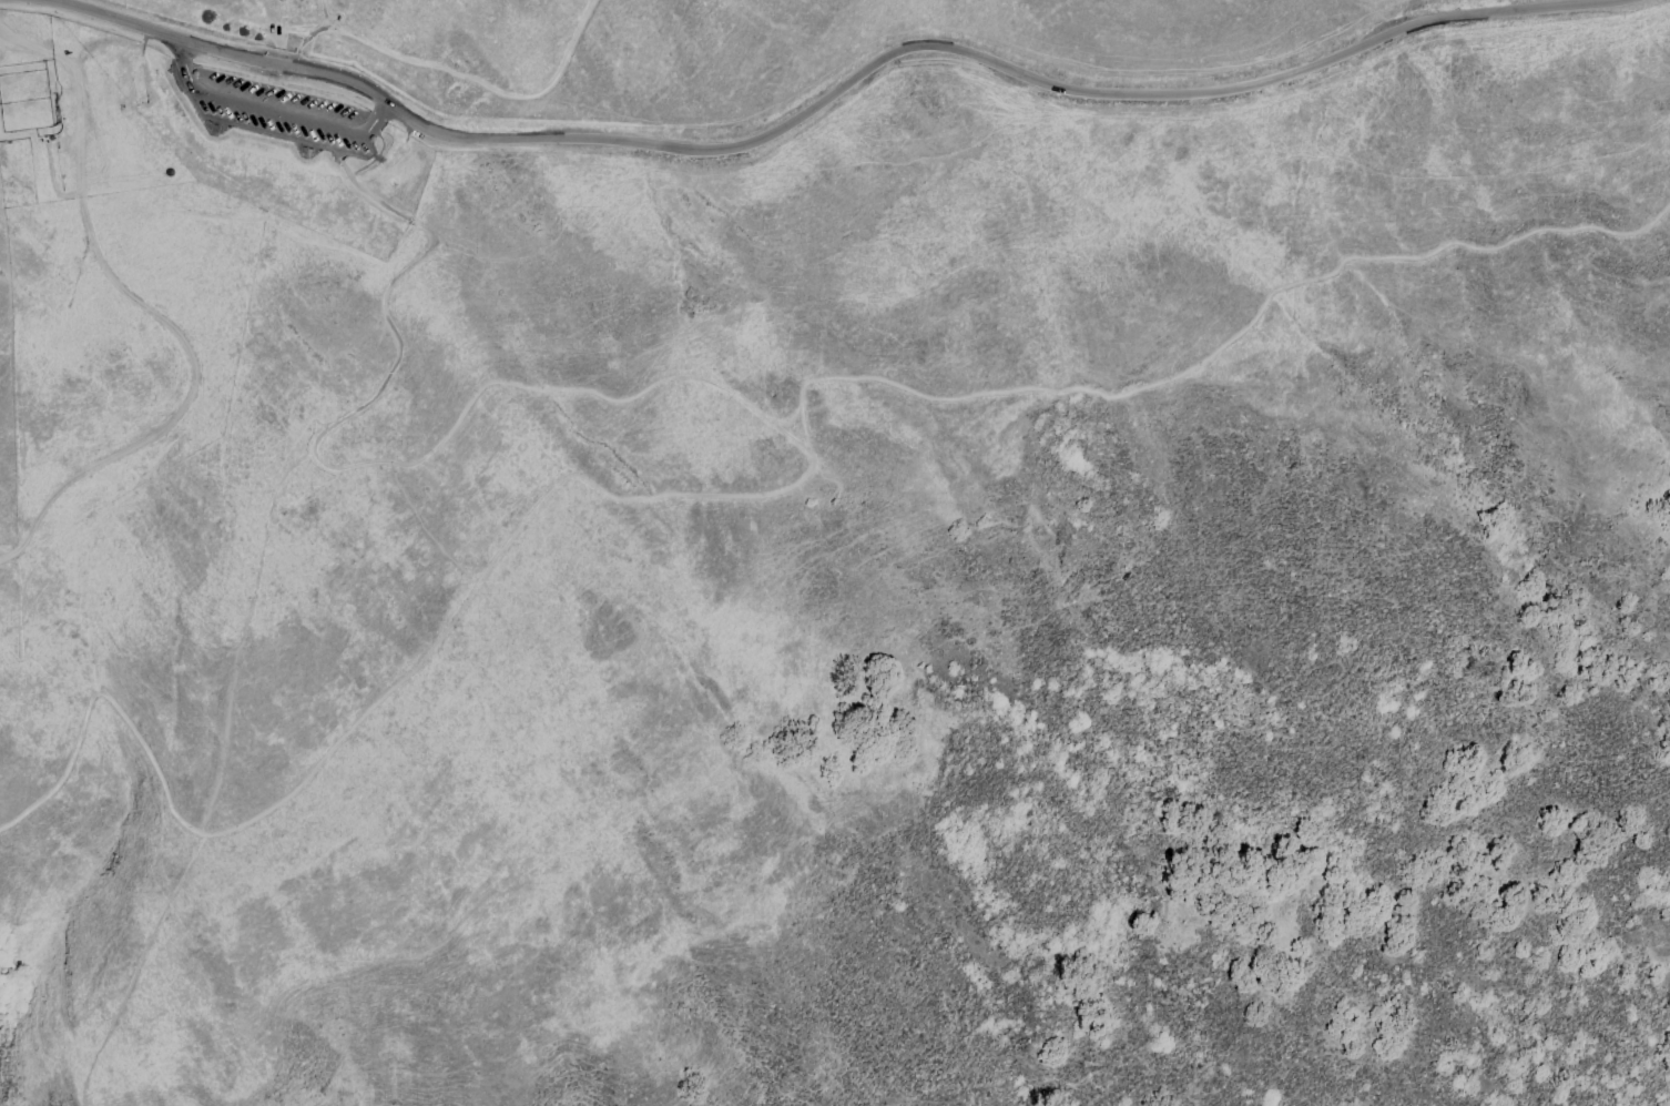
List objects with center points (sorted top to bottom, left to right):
road: (305, 33)
road: (570, 44)
road: (430, 60)
road: (834, 93)
parking lot: (283, 109)
road: (271, 110)
road: (163, 325)
road: (346, 465)
road: (761, 494)
park: (1422, 937)

